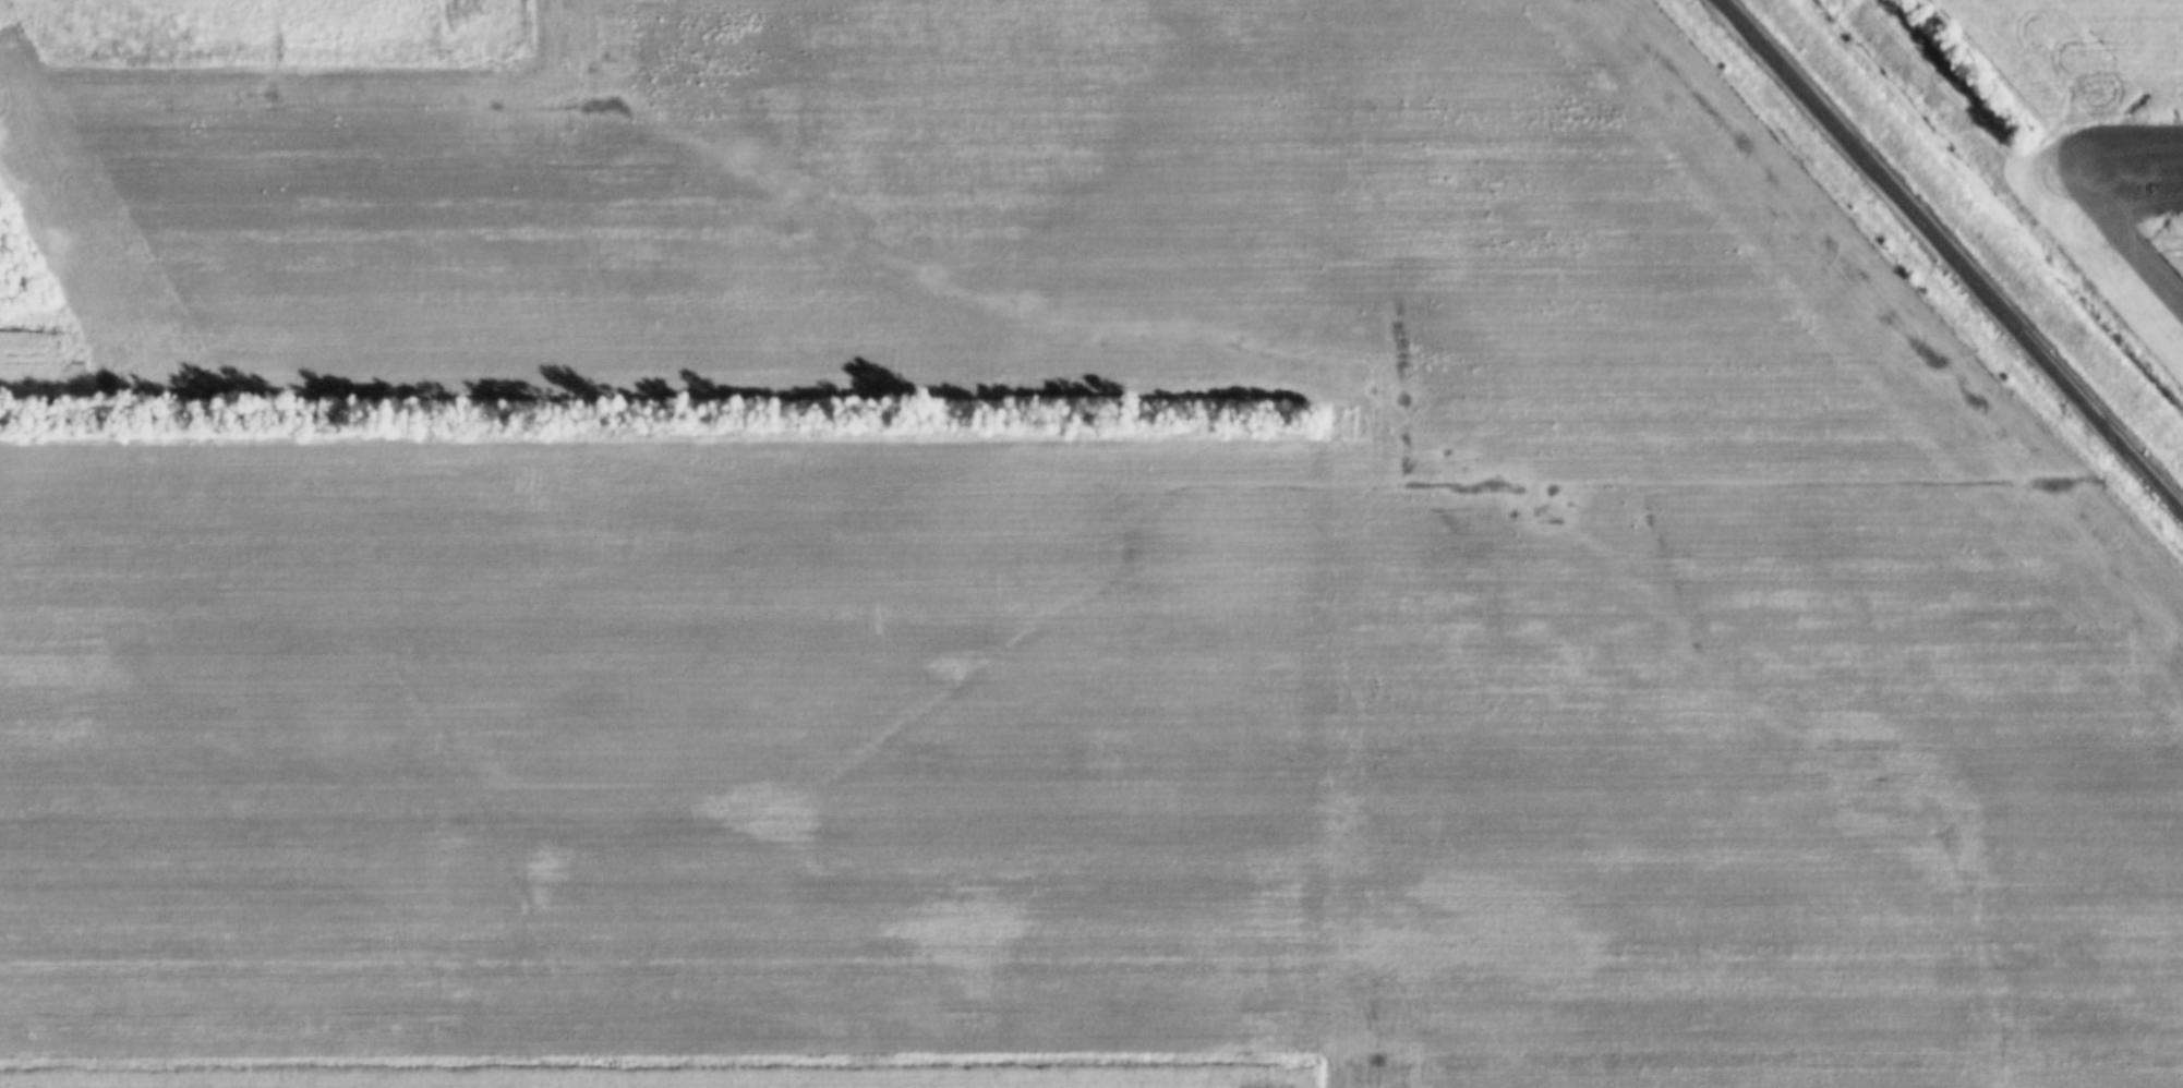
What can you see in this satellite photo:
railway: (1949, 258)

